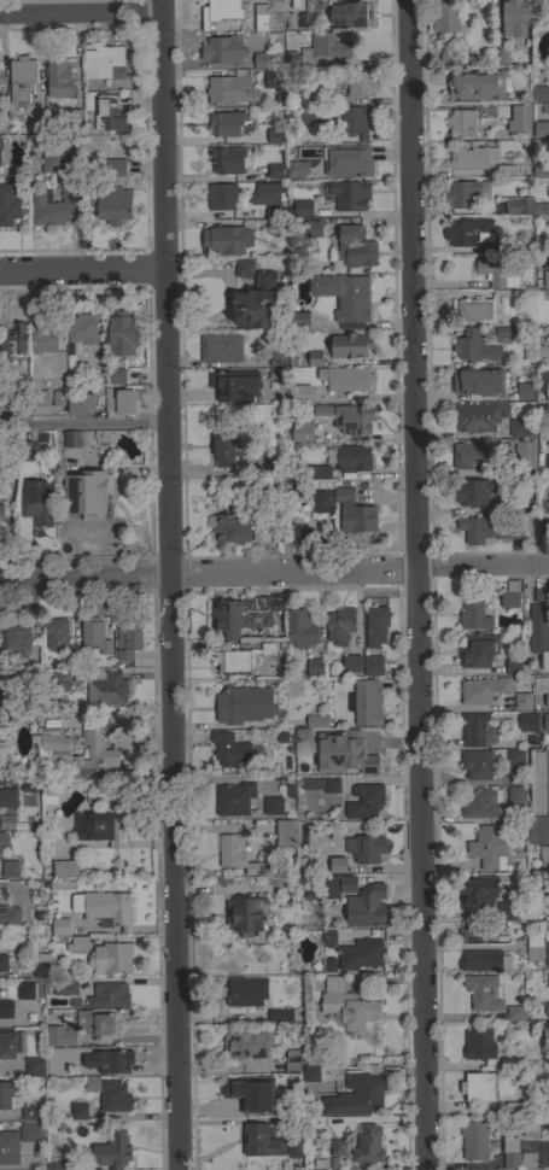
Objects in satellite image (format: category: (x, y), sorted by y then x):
building: (541, 6)
building: (221, 12)
road: (82, 13)
building: (304, 14)
building: (347, 14)
building: (261, 17)
building: (444, 17)
building: (513, 18)
building: (222, 49)
building: (317, 49)
building: (502, 55)
building: (448, 59)
building: (100, 60)
building: (261, 60)
building: (0, 78)
building: (21, 78)
building: (58, 78)
building: (270, 78)
building: (473, 82)
building: (360, 83)
building: (229, 89)
building: (539, 100)
building: (501, 111)
building: (107, 115)
building: (310, 116)
building: (75, 118)
building: (355, 121)
building: (515, 121)
building: (226, 123)
building: (461, 123)
building: (2, 125)
building: (538, 131)
building: (273, 134)
building: (263, 139)
building: (0, 145)
building: (471, 158)
building: (227, 159)
building: (48, 160)
building: (347, 160)
building: (113, 168)
building: (508, 169)
building: (297, 170)
building: (273, 171)
building: (461, 193)
building: (265, 194)
building: (221, 195)
building: (350, 195)
building: (8, 204)
building: (112, 204)
building: (518, 206)
building: (52, 207)
building: (303, 209)
building: (541, 209)
building: (275, 211)
building: (466, 230)
building: (293, 233)
building: (226, 240)
building: (493, 246)
building: (354, 247)
road: (83, 268)
building: (243, 268)
building: (496, 274)
building: (545, 279)
building: (344, 296)
building: (255, 302)
building: (473, 310)
building: (298, 318)
building: (80, 332)
building: (119, 334)
building: (497, 337)
building: (43, 338)
building: (12, 341)
building: (350, 345)
building: (473, 346)
building: (220, 347)
building: (542, 351)
building: (276, 358)
building: (315, 358)
building: (116, 376)
building: (345, 379)
building: (477, 380)
building: (234, 385)
building: (524, 391)
building: (299, 393)
building: (41, 398)
building: (57, 398)
building: (121, 400)
building: (80, 403)
building: (543, 410)
building: (475, 416)
building: (347, 417)
road: (84, 426)
building: (300, 427)
building: (518, 428)
building: (71, 439)
building: (226, 449)
building: (27, 451)
building: (469, 456)
building: (352, 457)
building: (547, 464)
building: (316, 472)
building: (472, 492)
building: (87, 493)
building: (322, 499)
building: (35, 502)
building: (501, 505)
building: (0, 510)
building: (352, 510)
building: (229, 526)
building: (543, 527)
building: (486, 530)
building: (259, 533)
building: (292, 534)
road: (274, 571)
road: (171, 585)
road: (415, 585)
building: (509, 595)
building: (541, 595)
building: (473, 612)
building: (239, 615)
building: (375, 625)
building: (339, 626)
building: (300, 628)
building: (56, 633)
building: (538, 633)
building: (94, 634)
building: (128, 637)
building: (16, 638)
building: (478, 649)
building: (230, 657)
building: (71, 661)
building: (350, 663)
building: (372, 665)
building: (512, 666)
building: (314, 667)
building: (59, 680)
building: (539, 684)
building: (106, 689)
building: (481, 690)
building: (521, 700)
building: (545, 700)
building: (364, 702)
building: (243, 704)
building: (17, 716)
building: (316, 721)
building: (527, 721)
building: (545, 723)
building: (477, 730)
building: (49, 742)
building: (228, 749)
building: (367, 753)
building: (93, 754)
building: (340, 754)
building: (514, 756)
building: (475, 764)
building: (537, 782)
building: (321, 784)
building: (48, 792)
building: (515, 794)
building: (7, 797)
building: (234, 798)
building: (364, 801)
building: (481, 803)
building: (271, 806)
building: (97, 827)
building: (537, 830)
building: (284, 832)
building: (4, 841)
building: (364, 848)
building: (487, 848)
building: (236, 854)
building: (543, 856)
building: (337, 865)
building: (10, 868)
building: (64, 868)
building: (346, 884)
building: (328, 887)
building: (477, 891)
building: (364, 908)
building: (107, 909)
building: (504, 911)
building: (11, 915)
building: (247, 917)
building: (59, 926)
building: (475, 932)
building: (328, 937)
building: (78, 943)
building: (533, 947)
building: (360, 954)
building: (547, 955)
building: (110, 958)
building: (477, 960)
building: (2, 963)
building: (40, 965)
building: (547, 978)
building: (68, 987)
building: (27, 990)
building: (245, 991)
building: (481, 991)
building: (110, 994)
building: (346, 1006)
building: (5, 1010)
building: (548, 1010)
building: (513, 1013)
building: (280, 1014)
building: (93, 1023)
building: (59, 1035)
building: (8, 1043)
building: (247, 1043)
building: (479, 1047)
building: (109, 1060)
building: (293, 1060)
building: (508, 1063)
building: (34, 1066)
building: (92, 1083)
building: (270, 1086)
building: (478, 1087)
building: (5, 1094)
building: (245, 1095)
building: (113, 1096)
building: (356, 1096)
building: (226, 1108)
building: (514, 1108)
building: (77, 1111)
building: (28, 1112)
building: (530, 1129)
building: (30, 1133)
building: (474, 1140)
building: (259, 1141)
building: (367, 1146)
building: (293, 1147)
building: (337, 1147)
building: (8, 1148)
building: (111, 1151)
building: (515, 1154)
building: (58, 1165)

